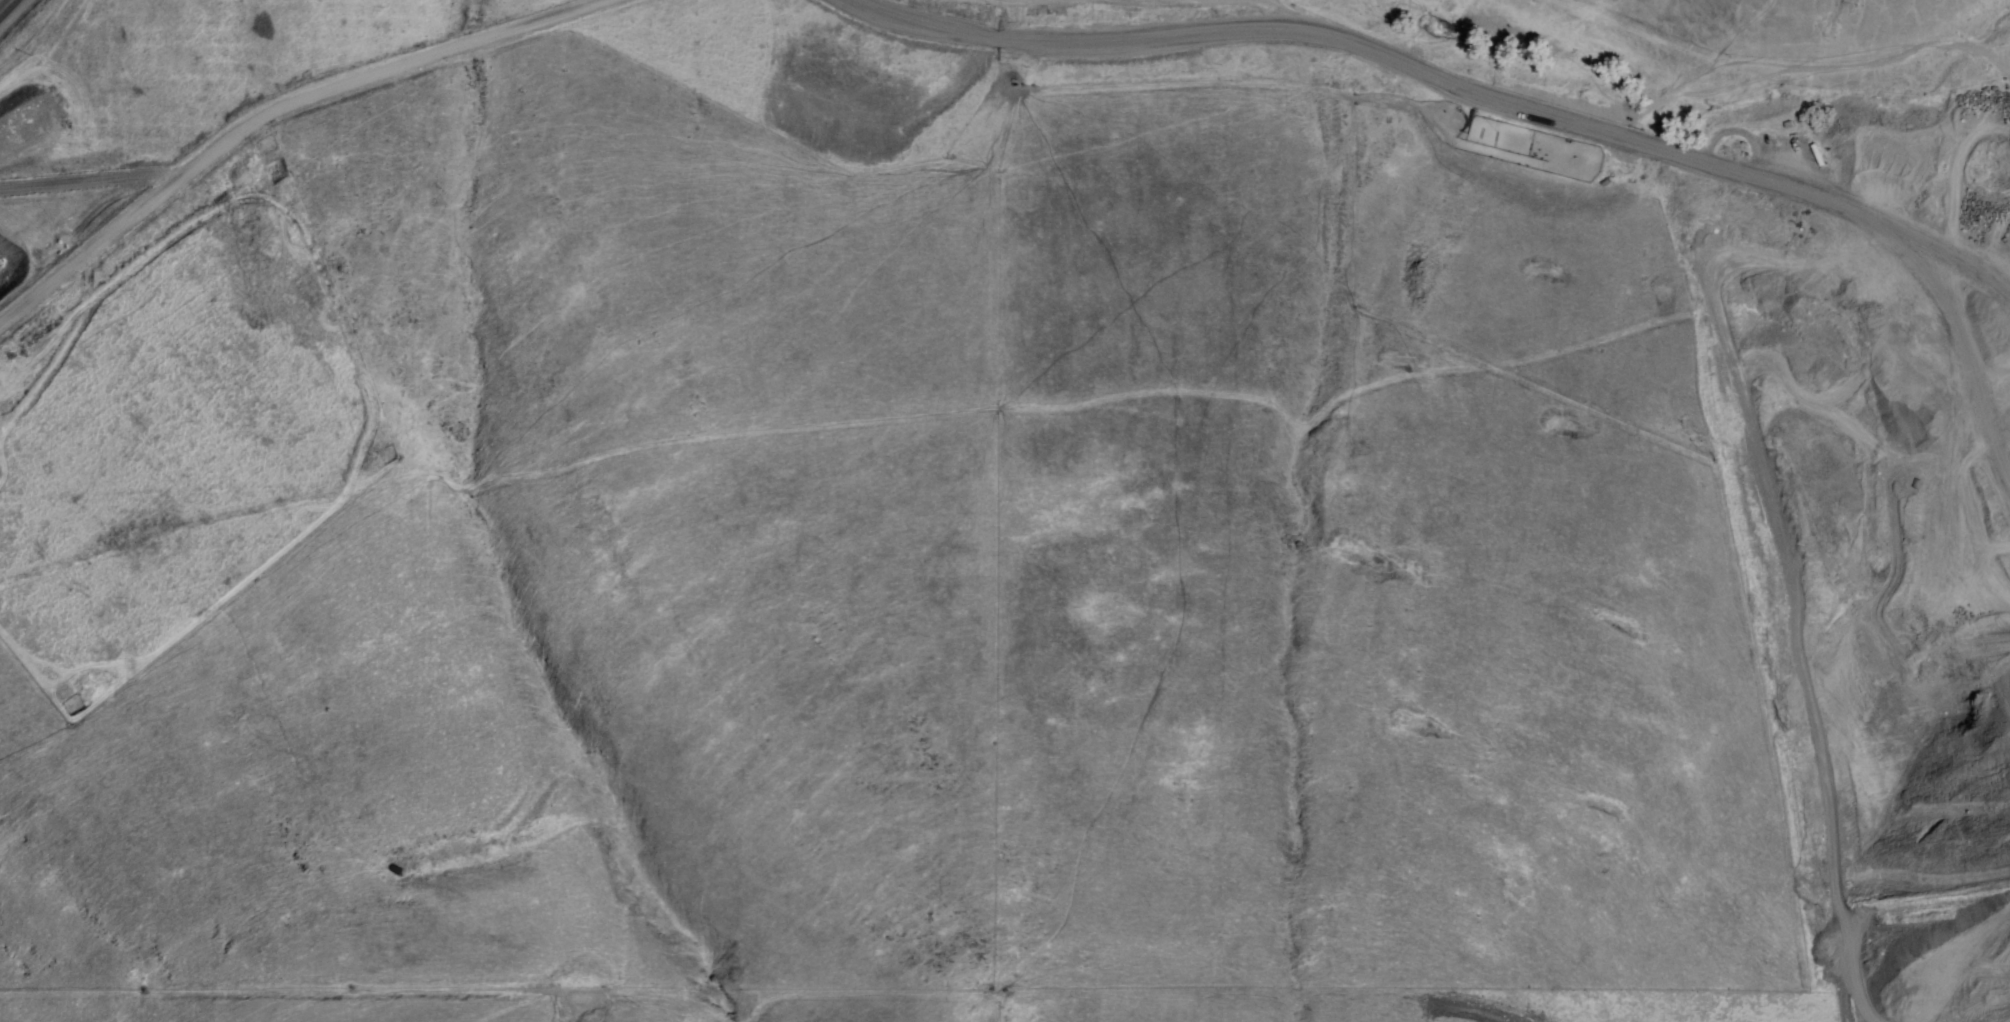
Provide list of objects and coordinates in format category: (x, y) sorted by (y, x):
road: (6, 5)
road: (290, 114)

